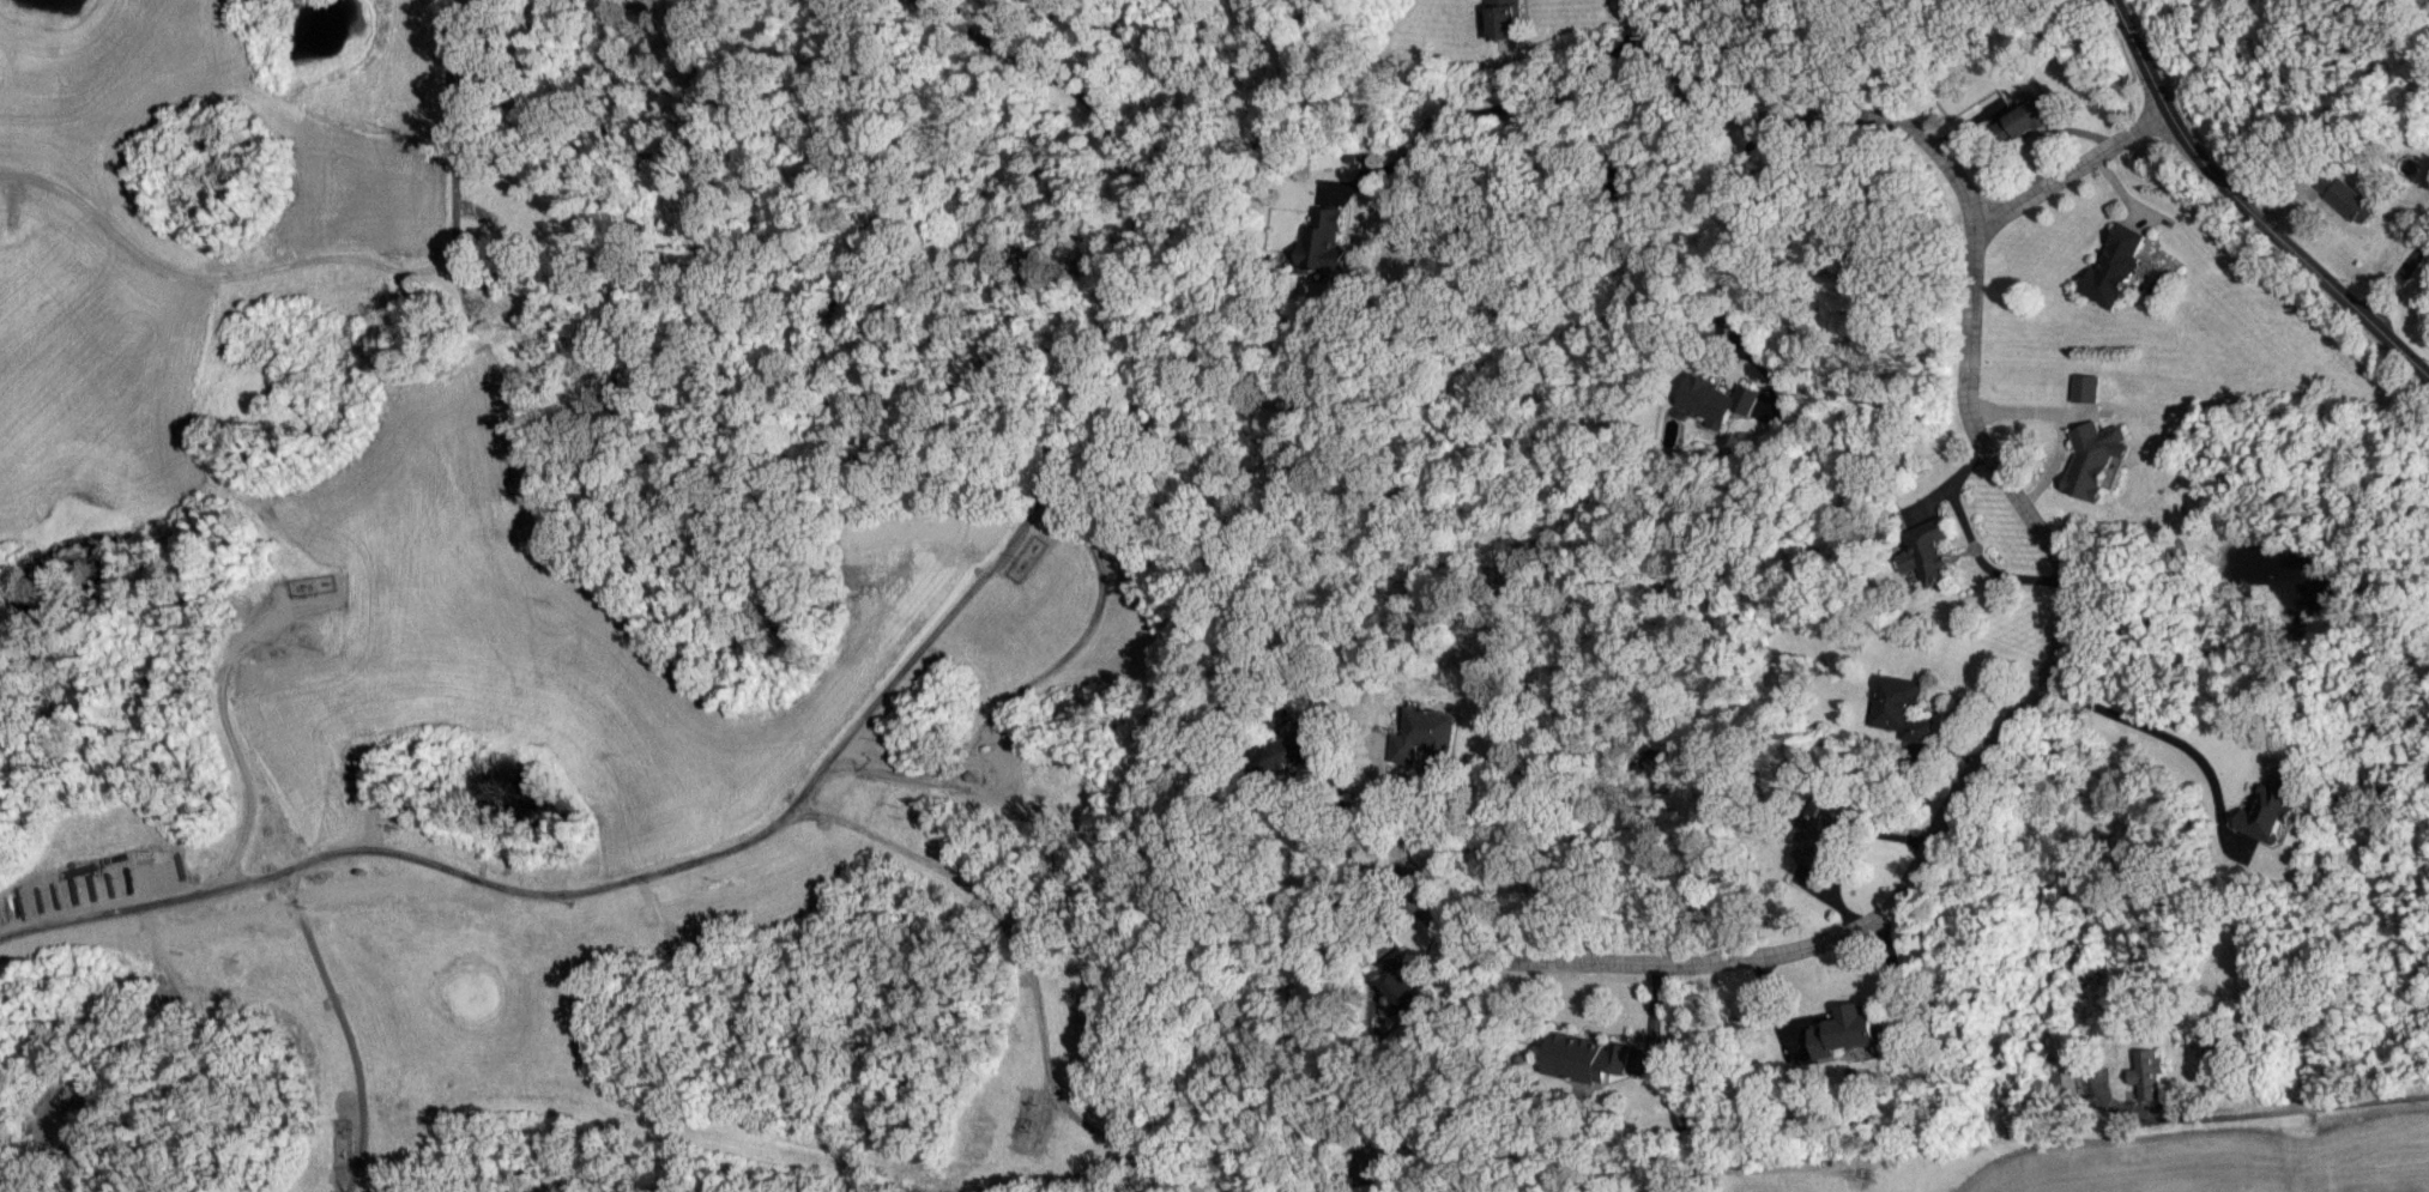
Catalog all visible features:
building: (1504, 19)
road: (1487, 110)
road: (1805, 115)
building: (2025, 117)
road: (2071, 167)
road: (2218, 179)
building: (2345, 195)
road: (483, 213)
building: (1324, 240)
petroleum well: (279, 249)
road: (1728, 260)
road: (346, 262)
building: (2114, 264)
road: (2400, 279)
road: (2400, 347)
road: (1094, 353)
building: (2086, 387)
building: (1716, 399)
building: (2098, 459)
road: (1999, 465)
road: (1970, 539)
building: (1928, 549)
petroleum well: (327, 582)
road: (1027, 684)
building: (1902, 709)
road: (224, 720)
road: (2144, 725)
building: (1427, 733)
building: (1292, 749)
road: (368, 804)
road: (1380, 806)
building: (2271, 810)
road: (1355, 827)
building: (1817, 829)
road: (1392, 869)
road: (585, 894)
road: (989, 901)
road: (141, 907)
road: (659, 913)
road: (1781, 952)
road: (162, 954)
building: (1406, 979)
road: (348, 1027)
building: (1853, 1030)
building: (1585, 1057)
building: (2147, 1072)
building: (2067, 1079)
road: (2300, 1099)
road: (1125, 1144)
crop: (2230, 1161)
road: (1754, 1167)
road: (961, 1168)

